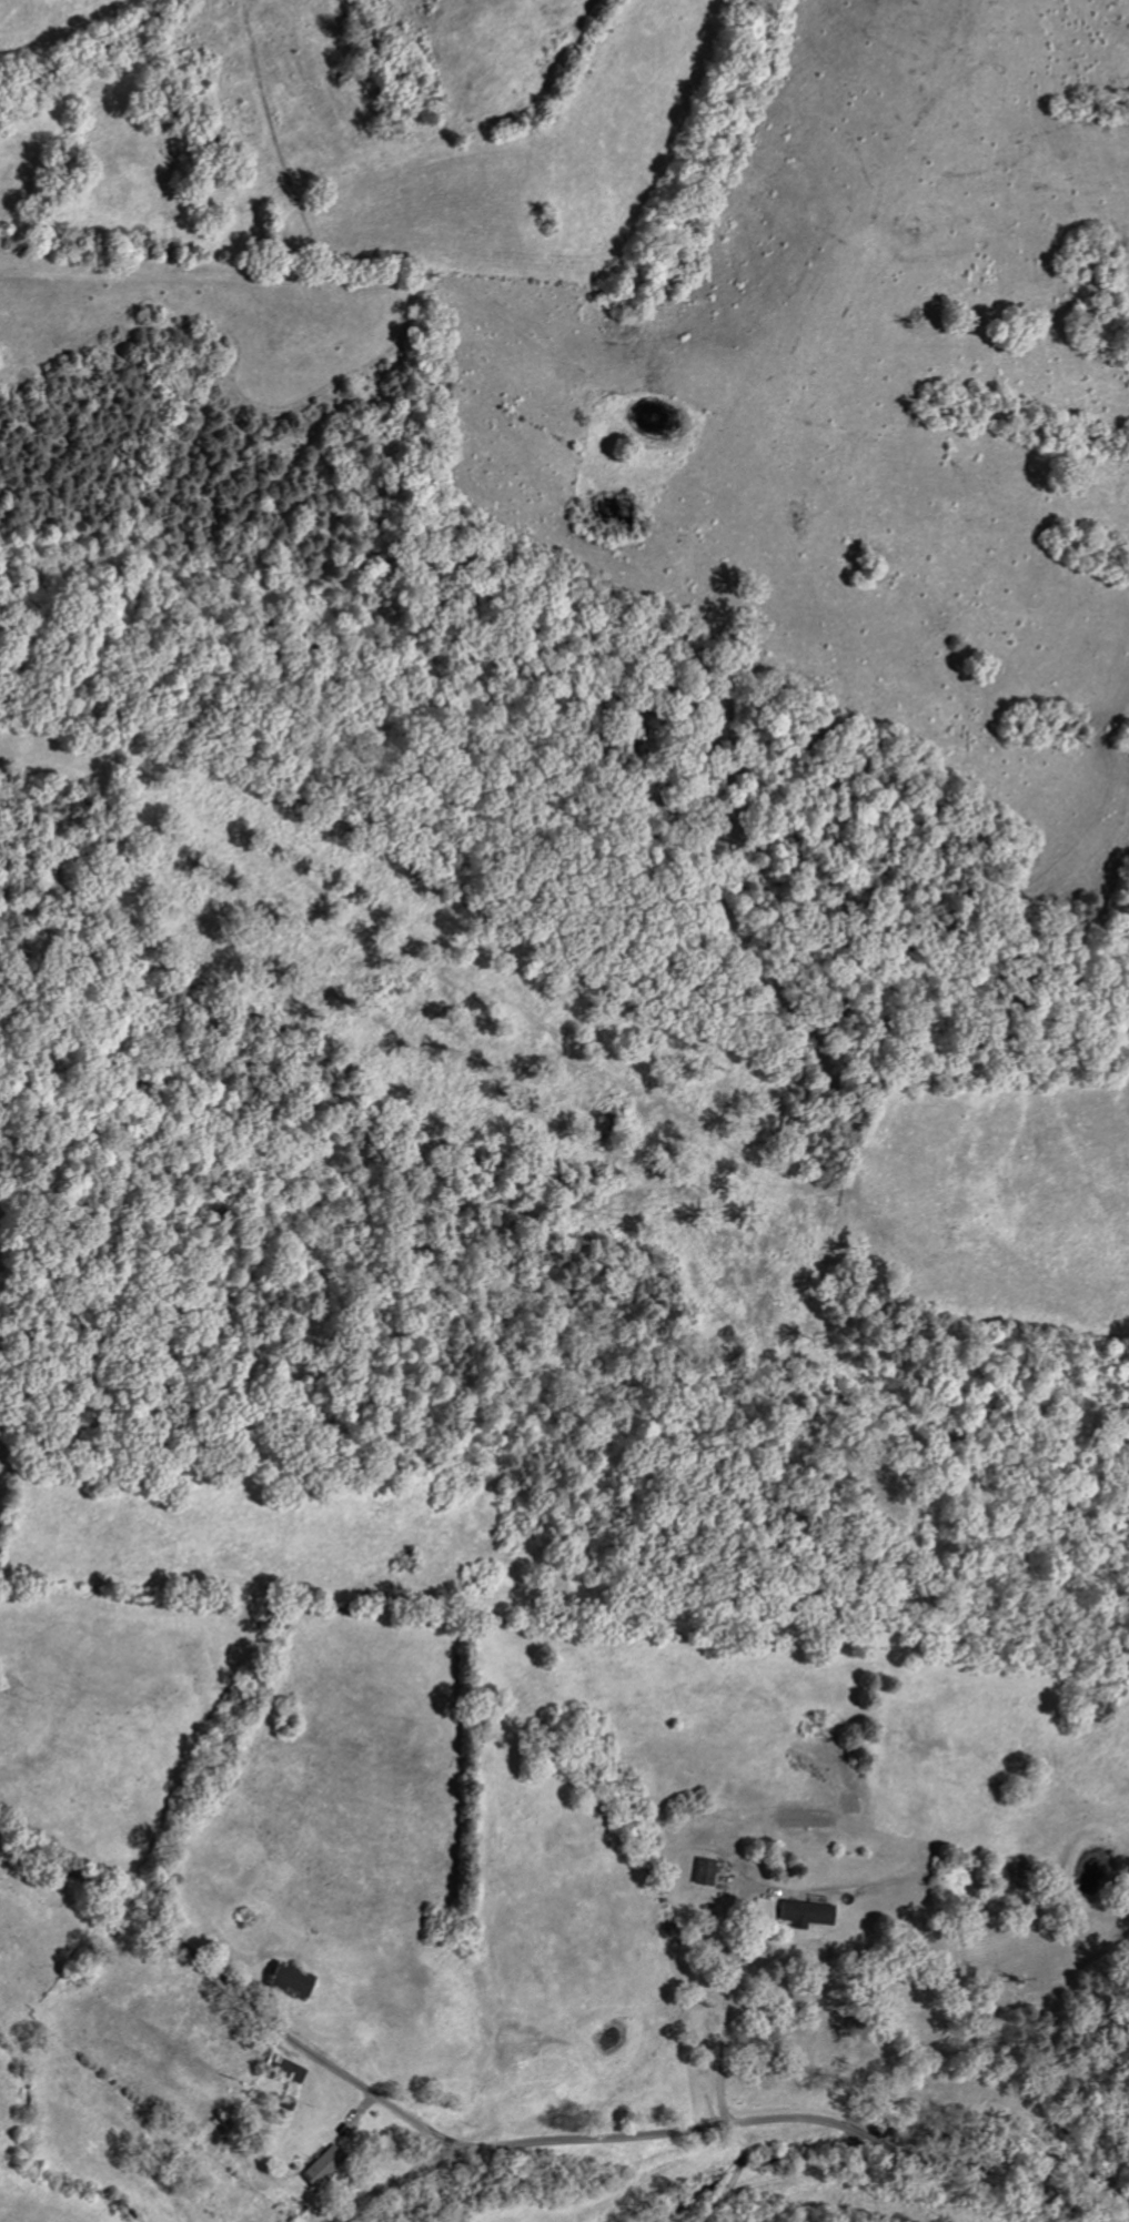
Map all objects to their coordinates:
building: (804, 1912)
building: (284, 1980)
road: (230, 1990)
road: (726, 2038)
building: (289, 2070)
road: (716, 2122)
building: (319, 2165)

